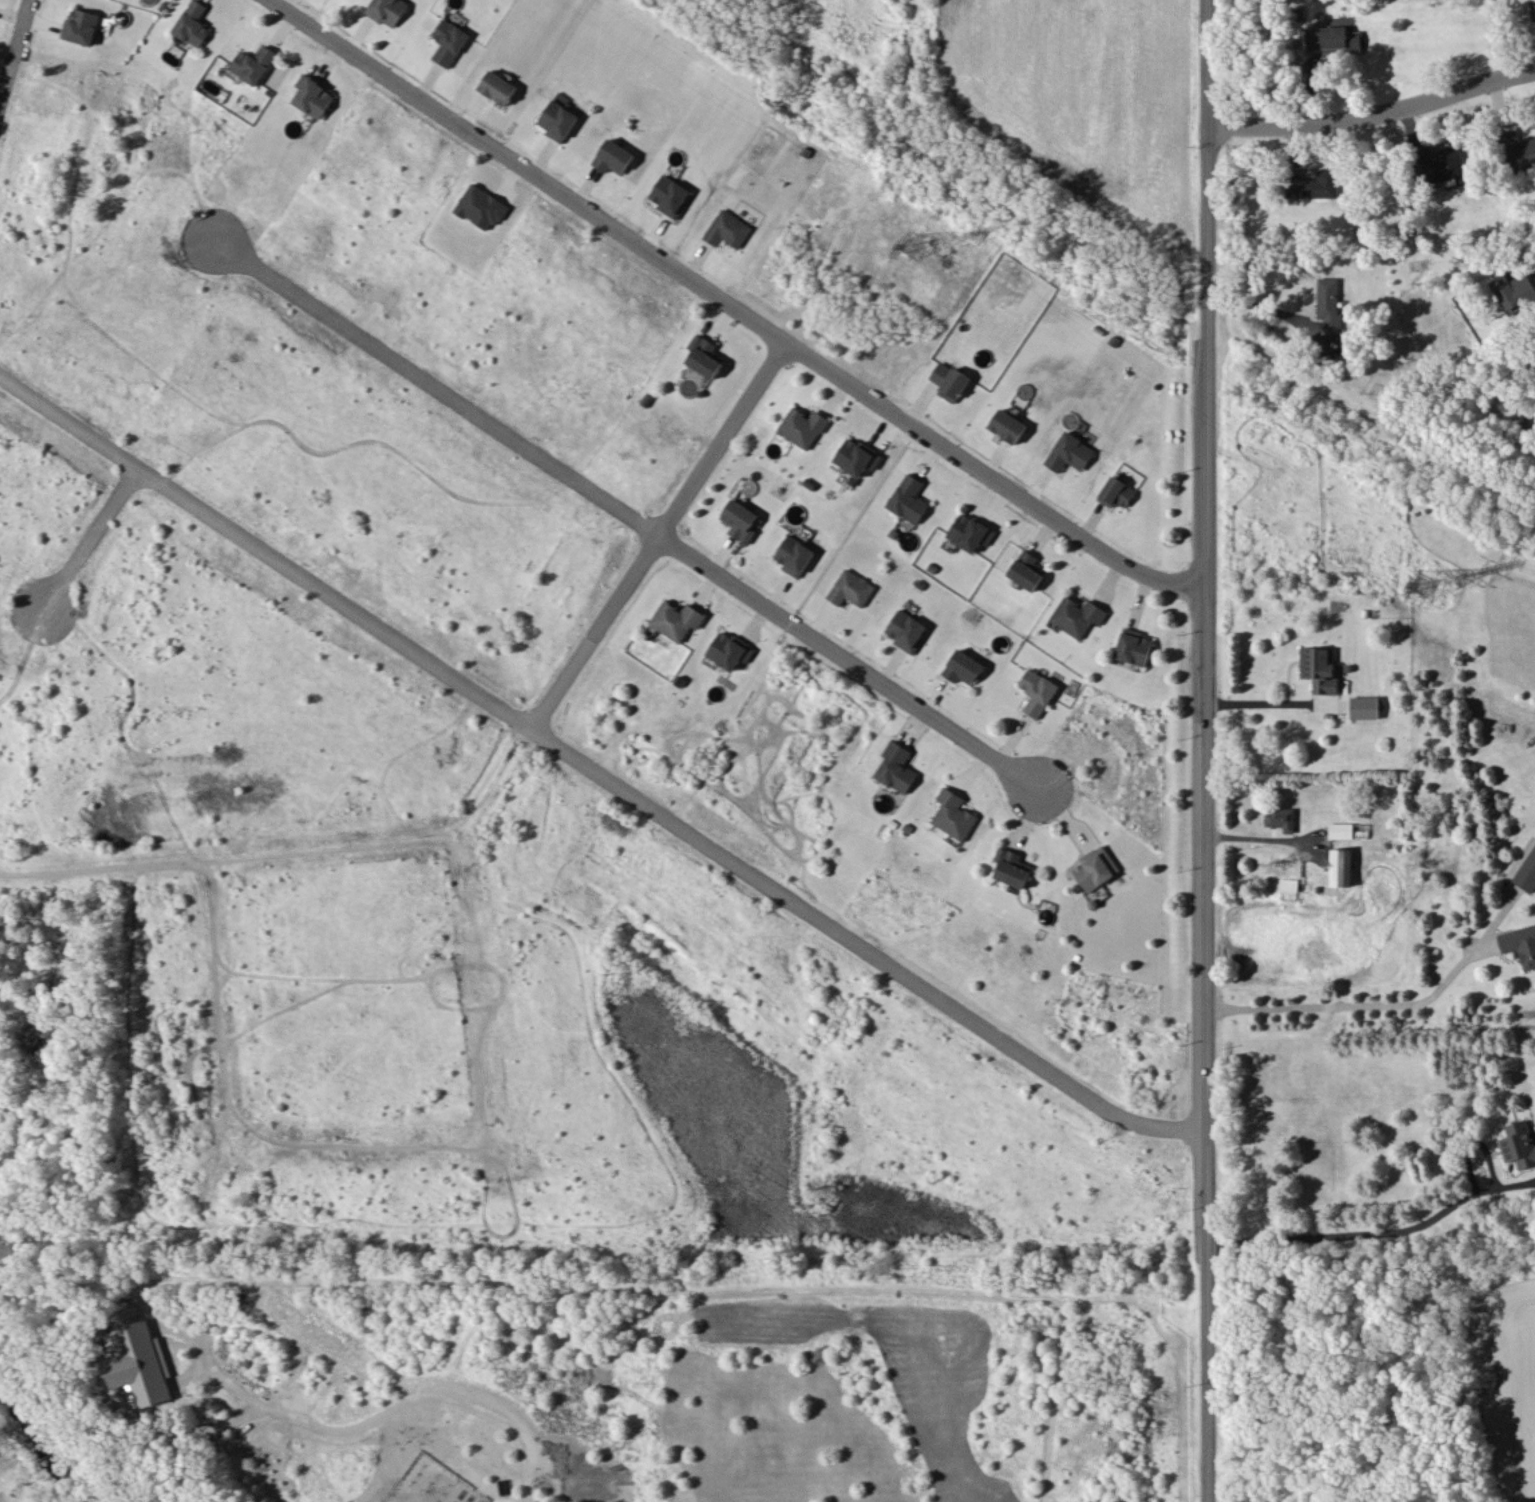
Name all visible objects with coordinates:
building: (1532, 9)
building: (387, 10)
building: (192, 24)
building: (81, 26)
building: (1332, 38)
building: (449, 41)
road: (13, 45)
building: (253, 64)
building: (498, 87)
building: (312, 95)
road: (1373, 114)
building: (557, 120)
building: (1518, 150)
building: (614, 157)
building: (1439, 162)
building: (1312, 183)
building: (670, 195)
building: (481, 207)
building: (728, 229)
power tower: (911, 239)
building: (1514, 290)
road: (734, 300)
building: (1329, 304)
road: (1262, 308)
building: (705, 356)
road: (430, 380)
building: (949, 381)
building: (1008, 425)
building: (802, 427)
building: (1069, 452)
building: (857, 457)
building: (1116, 492)
building: (909, 499)
building: (740, 520)
road: (657, 527)
building: (970, 532)
road: (88, 534)
building: (794, 555)
building: (1027, 570)
power tower: (1423, 583)
building: (851, 588)
building: (1078, 616)
building: (676, 619)
building: (907, 630)
building: (1133, 646)
building: (730, 650)
road: (850, 657)
building: (963, 667)
building: (1319, 668)
building: (1037, 691)
road: (1263, 702)
building: (1364, 707)
road: (1198, 750)
road: (592, 761)
building: (897, 767)
building: (954, 814)
building: (1281, 818)
road: (1253, 830)
building: (1341, 830)
building: (1012, 867)
building: (1096, 867)
building: (1341, 867)
building: (1527, 873)
building: (1520, 944)
road: (1345, 1001)
building: (1518, 1143)
road: (1355, 1231)
building: (138, 1364)
road: (387, 1413)

